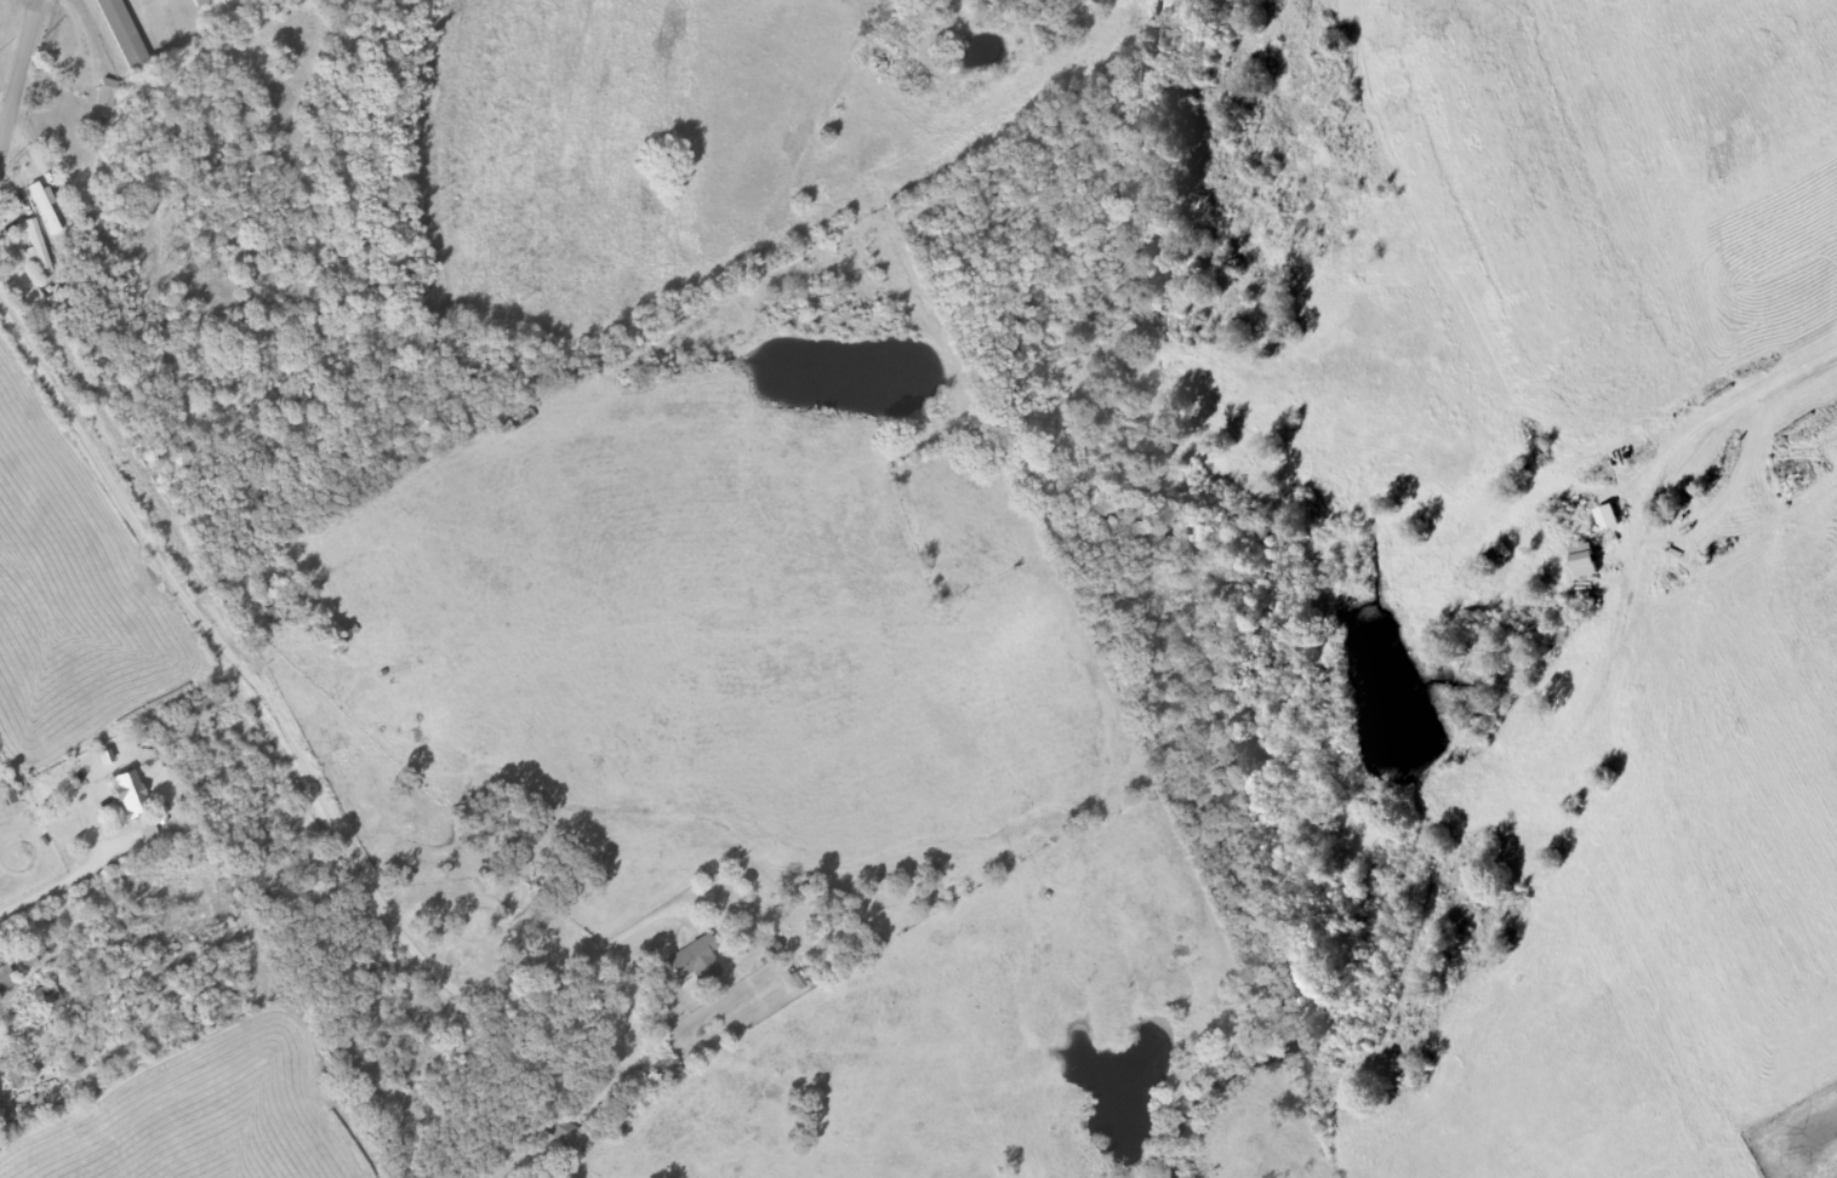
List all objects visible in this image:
building: (199, 2)
building: (122, 36)
road: (18, 82)
building: (107, 95)
building: (44, 210)
building: (35, 247)
building: (510, 425)
building: (204, 705)
road: (307, 762)
building: (127, 795)
building: (695, 962)
building: (5, 979)
building: (42, 1002)
road: (74, 1041)
building: (569, 1137)

